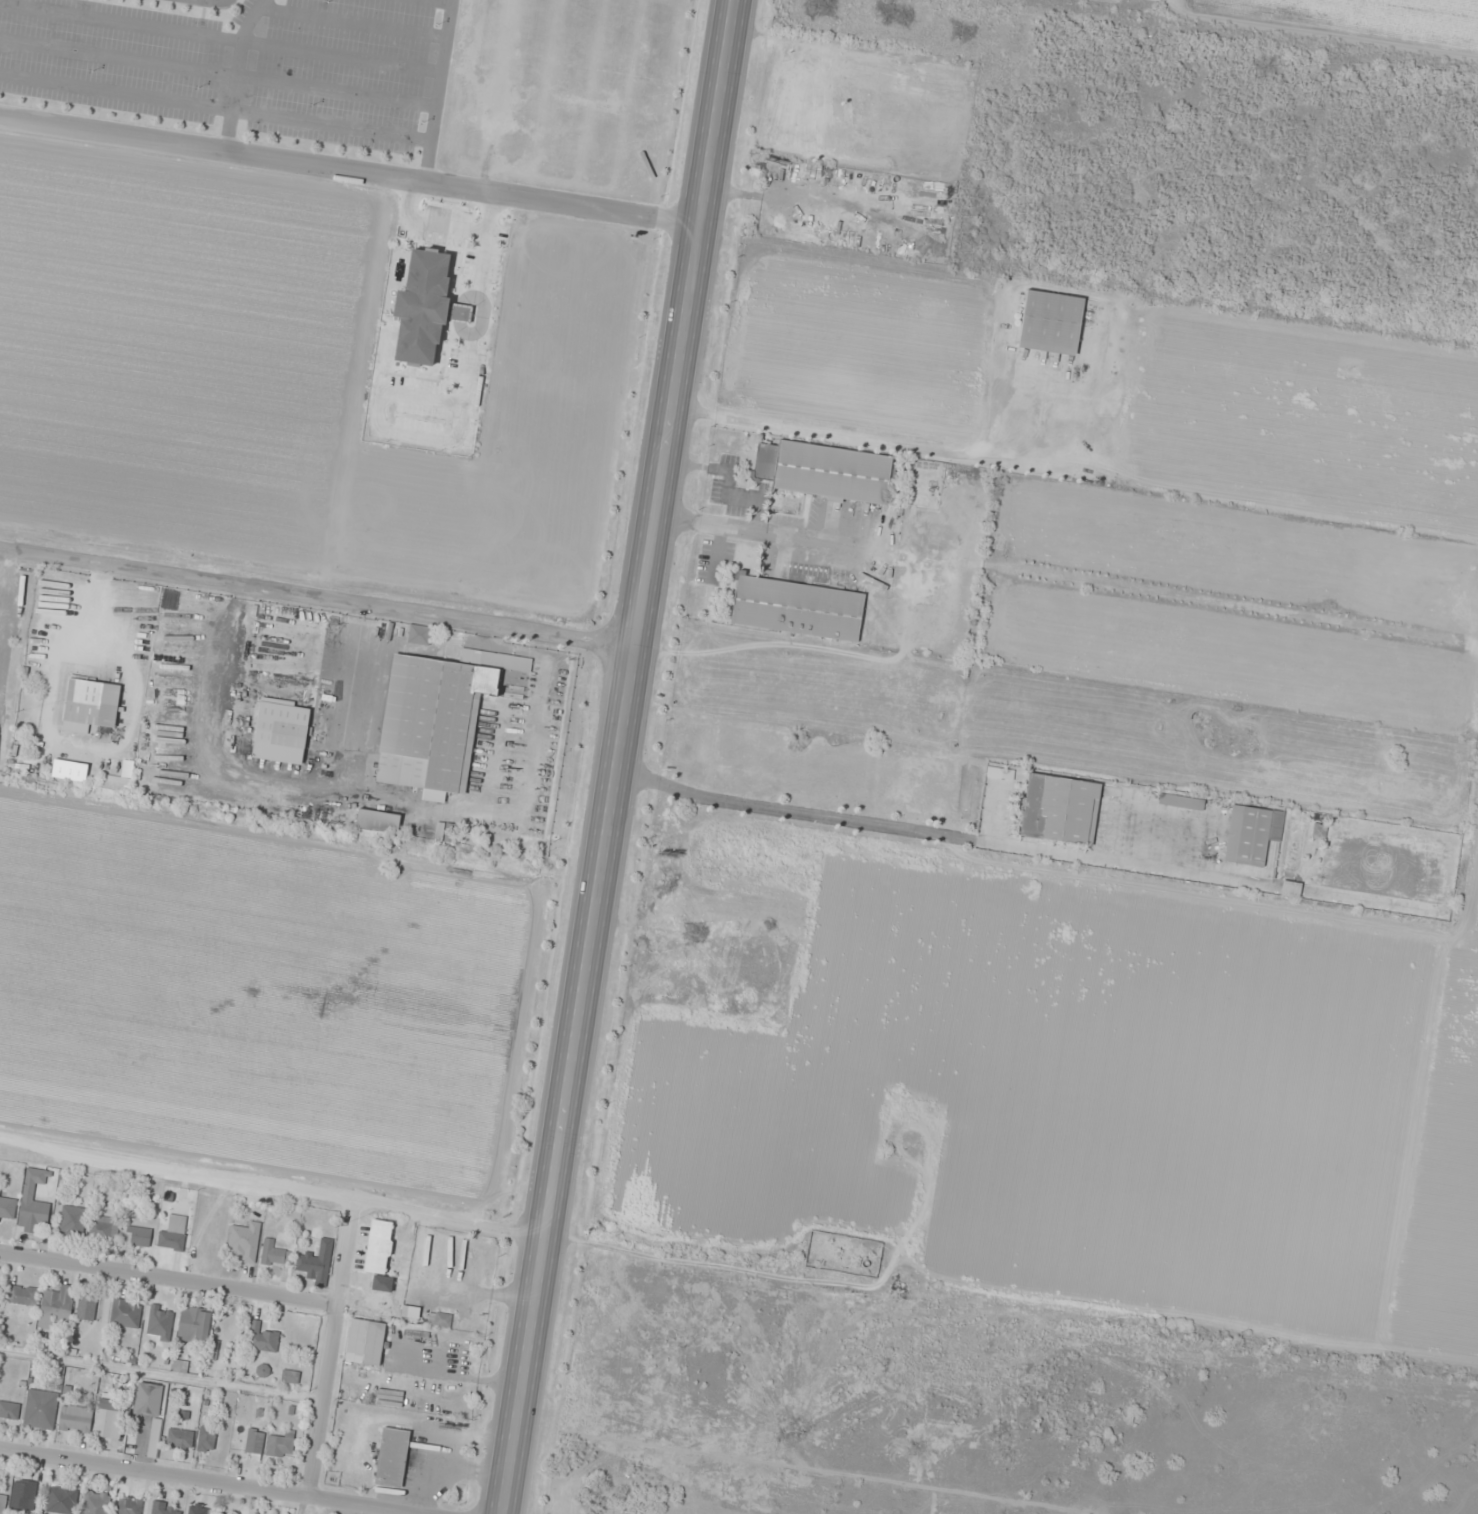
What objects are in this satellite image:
parking lot: (238, 82)
road: (566, 206)
building: (425, 307)
building: (1049, 323)
building: (823, 471)
road: (318, 594)
building: (796, 608)
building: (418, 634)
building: (90, 705)
building: (436, 718)
building: (280, 731)
road: (620, 757)
building: (999, 773)
building: (115, 784)
building: (1180, 801)
building: (1059, 809)
building: (377, 821)
building: (1318, 831)
building: (1251, 834)
building: (27, 1192)
road: (273, 1193)
building: (6, 1209)
building: (71, 1219)
building: (103, 1227)
building: (173, 1234)
building: (138, 1236)
building: (243, 1242)
building: (378, 1247)
building: (273, 1256)
building: (317, 1262)
road: (168, 1280)
building: (21, 1295)
building: (56, 1306)
building: (85, 1307)
building: (125, 1313)
building: (439, 1319)
building: (159, 1322)
building: (193, 1325)
building: (261, 1339)
building: (365, 1342)
road: (330, 1349)
building: (212, 1351)
building: (178, 1366)
building: (262, 1370)
building: (289, 1376)
building: (148, 1398)
building: (40, 1409)
building: (9, 1410)
building: (75, 1418)
building: (109, 1418)
building: (179, 1438)
building: (205, 1438)
building: (254, 1440)
building: (280, 1445)
building: (391, 1457)
road: (208, 1478)
building: (23, 1494)
building: (61, 1500)
building: (2, 1501)
building: (94, 1502)
building: (128, 1506)
building: (160, 1508)
building: (198, 1510)

